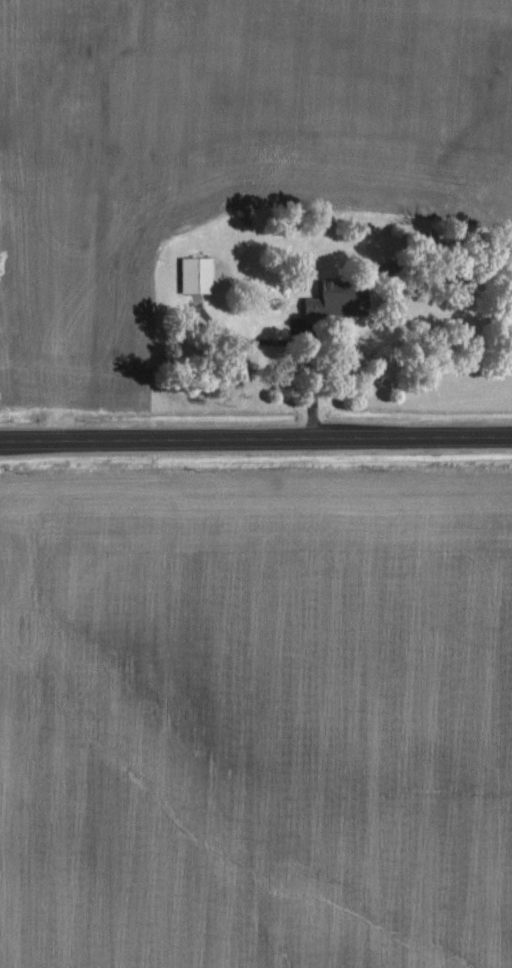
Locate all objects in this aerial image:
building: (193, 274)
road: (106, 290)
road: (255, 439)

